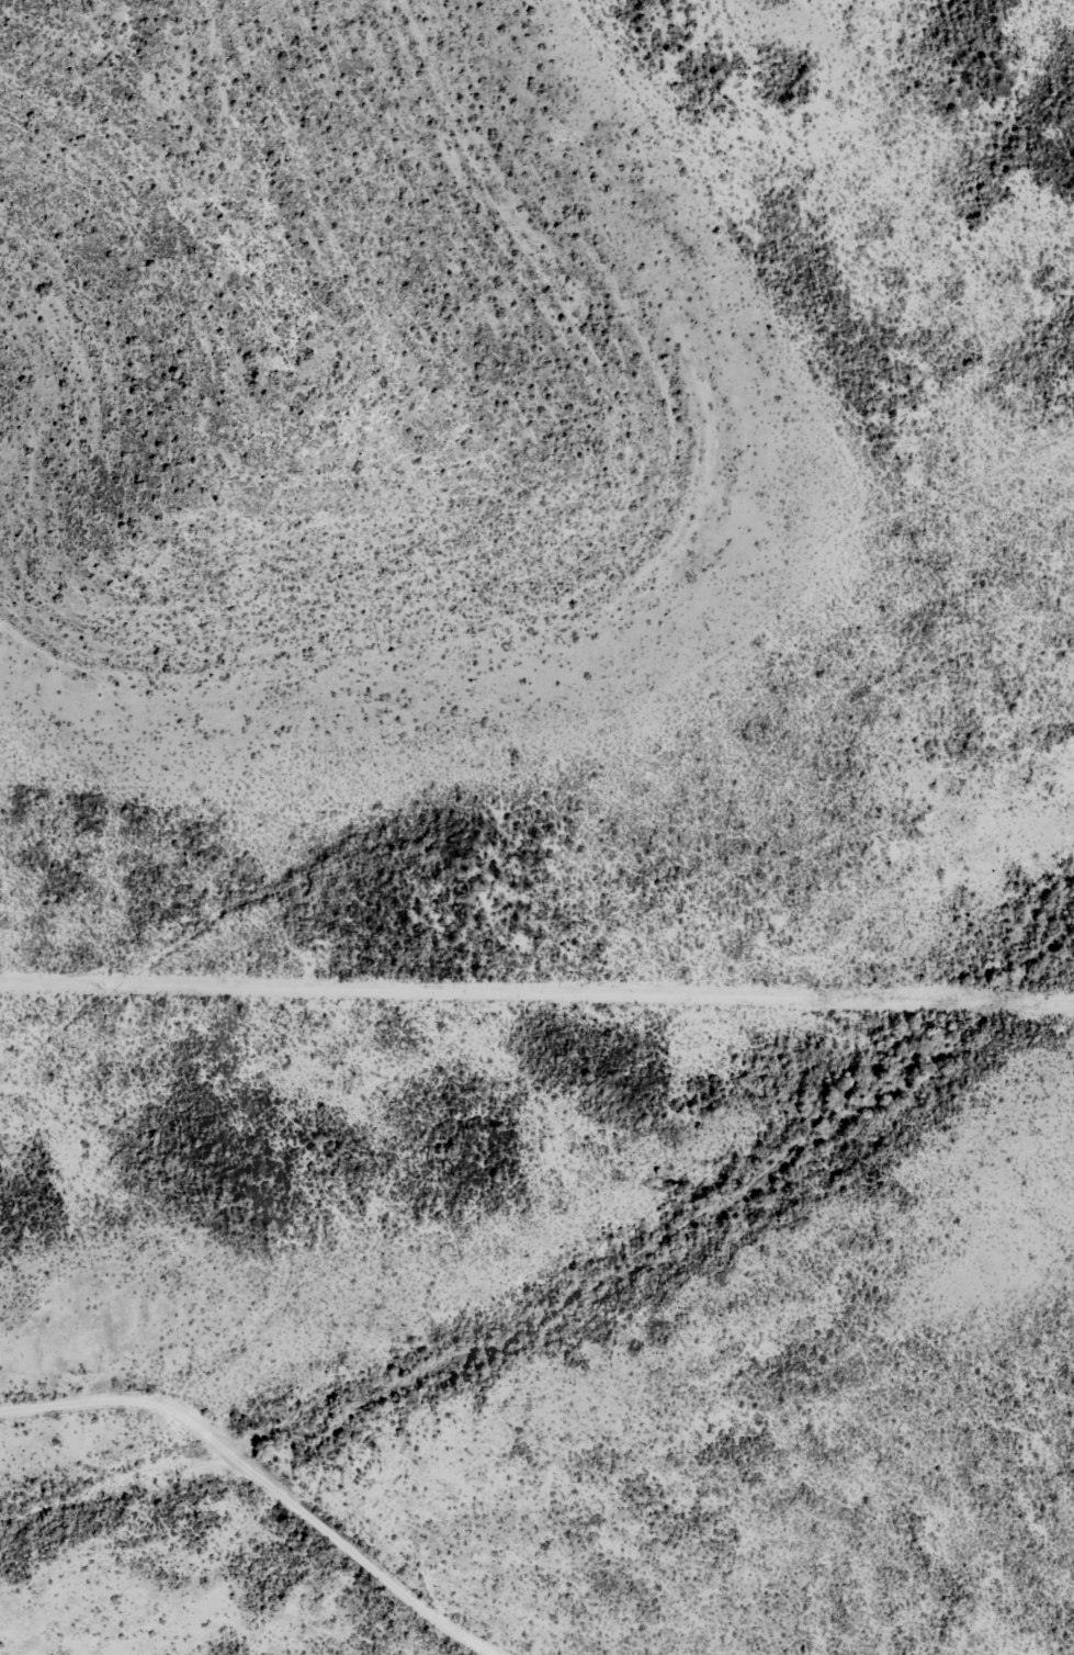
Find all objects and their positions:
road: (543, 751)
road: (262, 1490)

